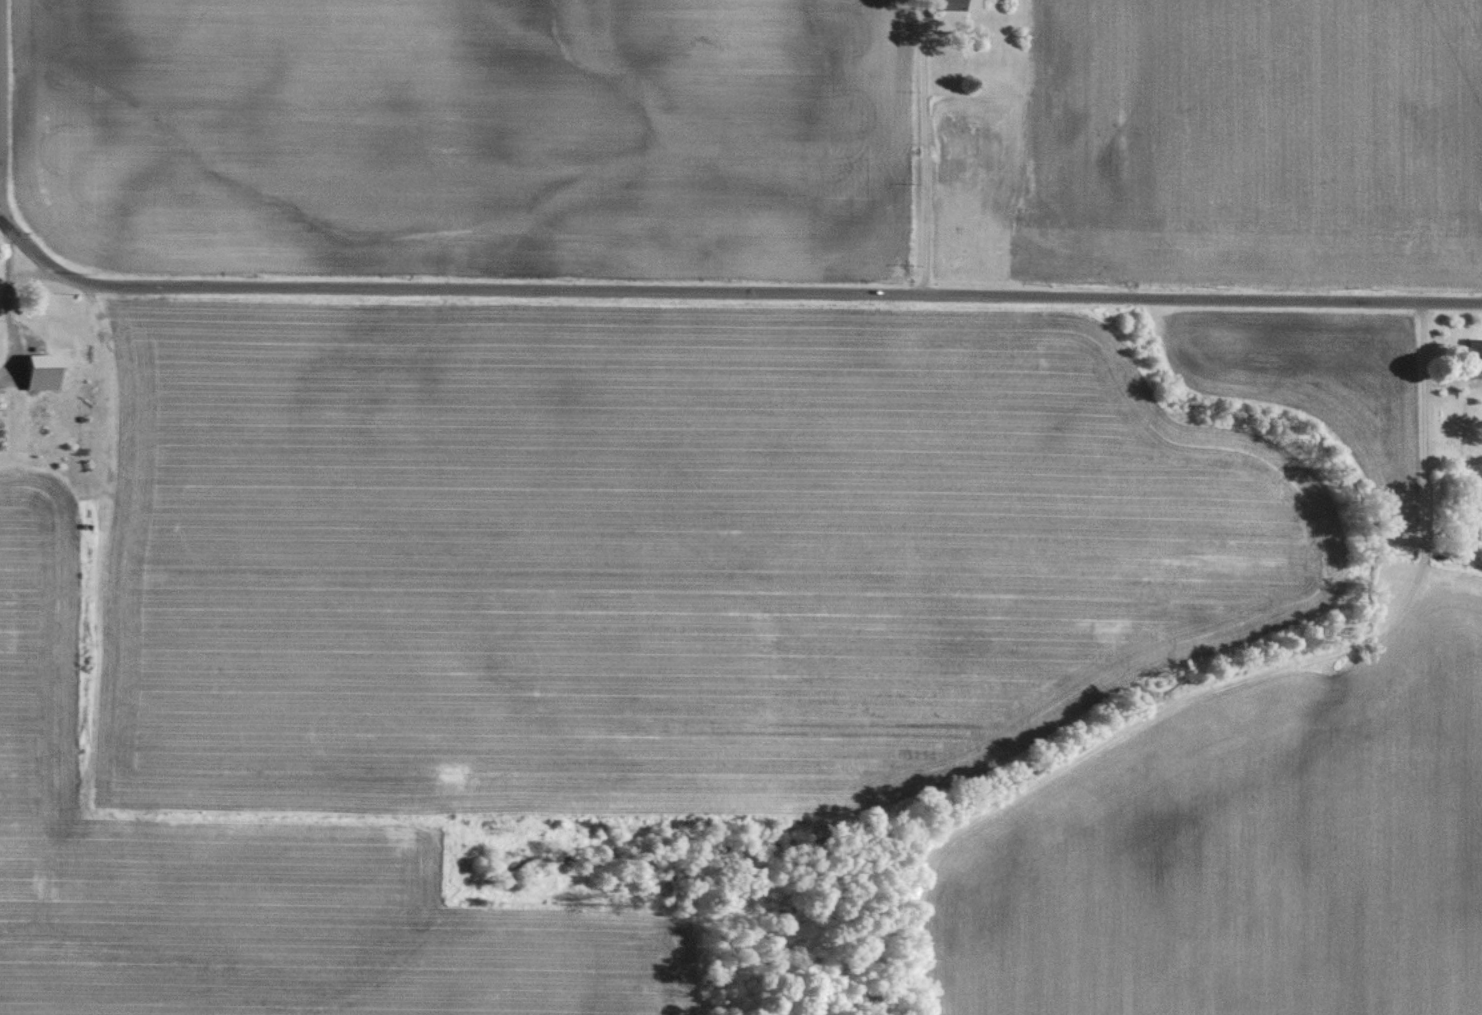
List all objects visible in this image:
building: (951, 5)
road: (1, 83)
road: (923, 147)
road: (728, 293)
road: (8, 302)
building: (1476, 354)
building: (45, 372)
building: (3, 406)

